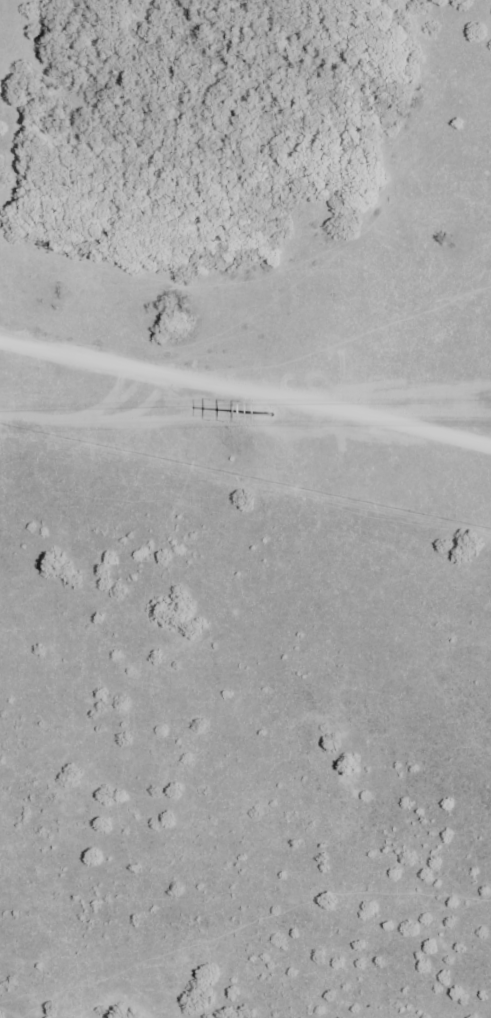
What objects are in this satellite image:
road: (245, 381)
power tower: (274, 418)

